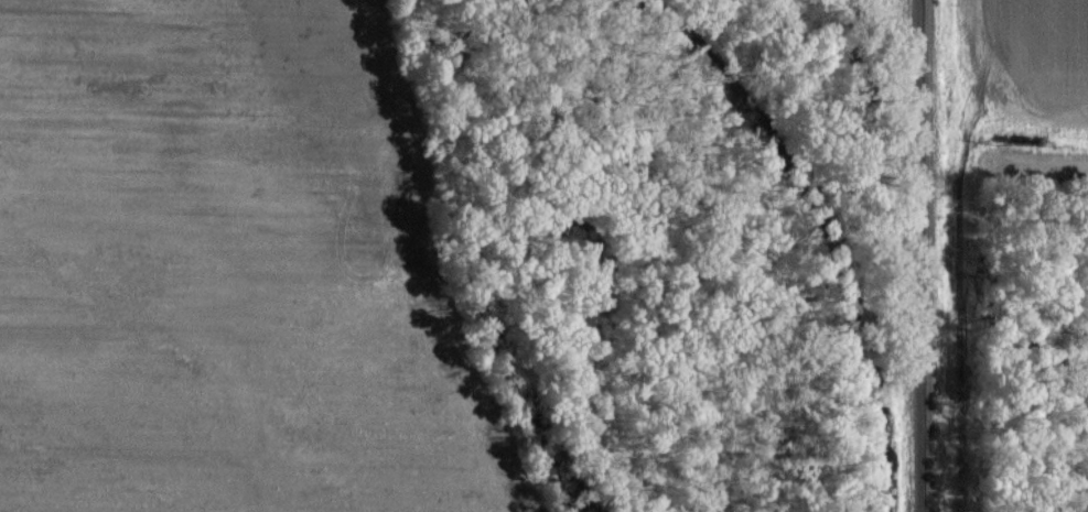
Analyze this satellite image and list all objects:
railway: (924, 255)

